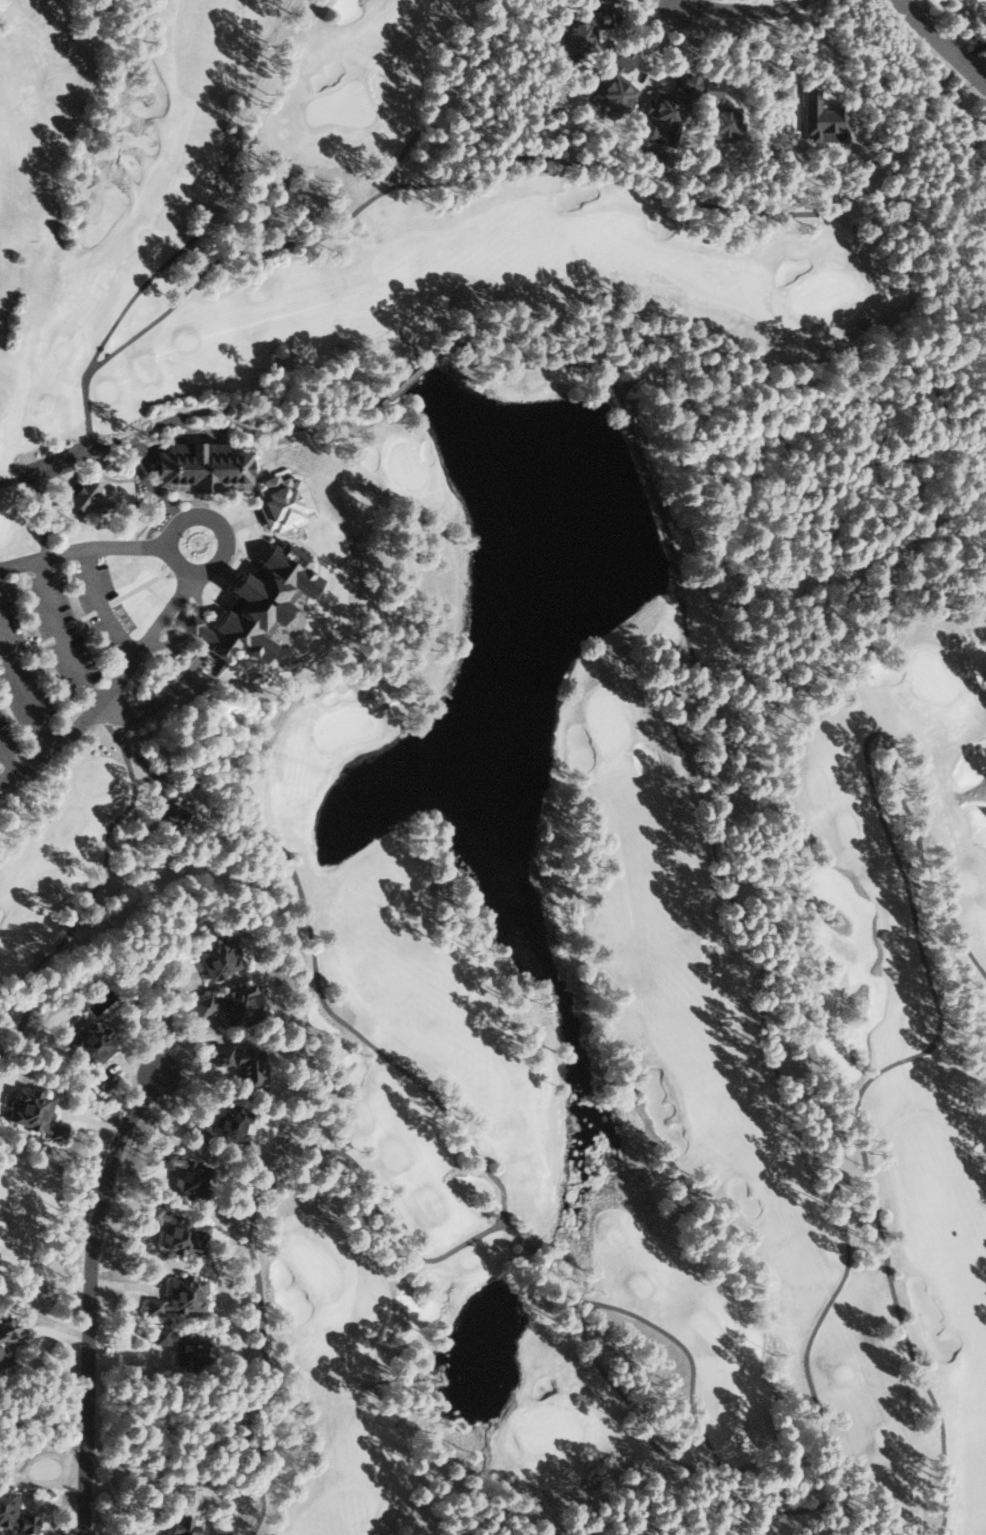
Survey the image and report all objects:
building: (611, 1)
road: (740, 9)
building: (605, 16)
building: (573, 37)
road: (941, 46)
building: (687, 83)
building: (615, 84)
building: (663, 111)
building: (716, 113)
building: (823, 119)
park: (185, 165)
dam: (674, 454)
building: (201, 467)
building: (84, 495)
building: (279, 502)
dam: (690, 516)
road: (99, 551)
building: (256, 604)
building: (170, 814)
park: (596, 852)
building: (215, 958)
building: (230, 1004)
building: (89, 1043)
building: (242, 1065)
building: (101, 1078)
building: (35, 1114)
building: (225, 1124)
building: (181, 1172)
park: (19, 1209)
building: (176, 1229)
building: (179, 1296)
road: (89, 1298)
building: (6, 1335)
building: (182, 1345)
building: (6, 1507)
building: (25, 1522)
building: (181, 1526)

